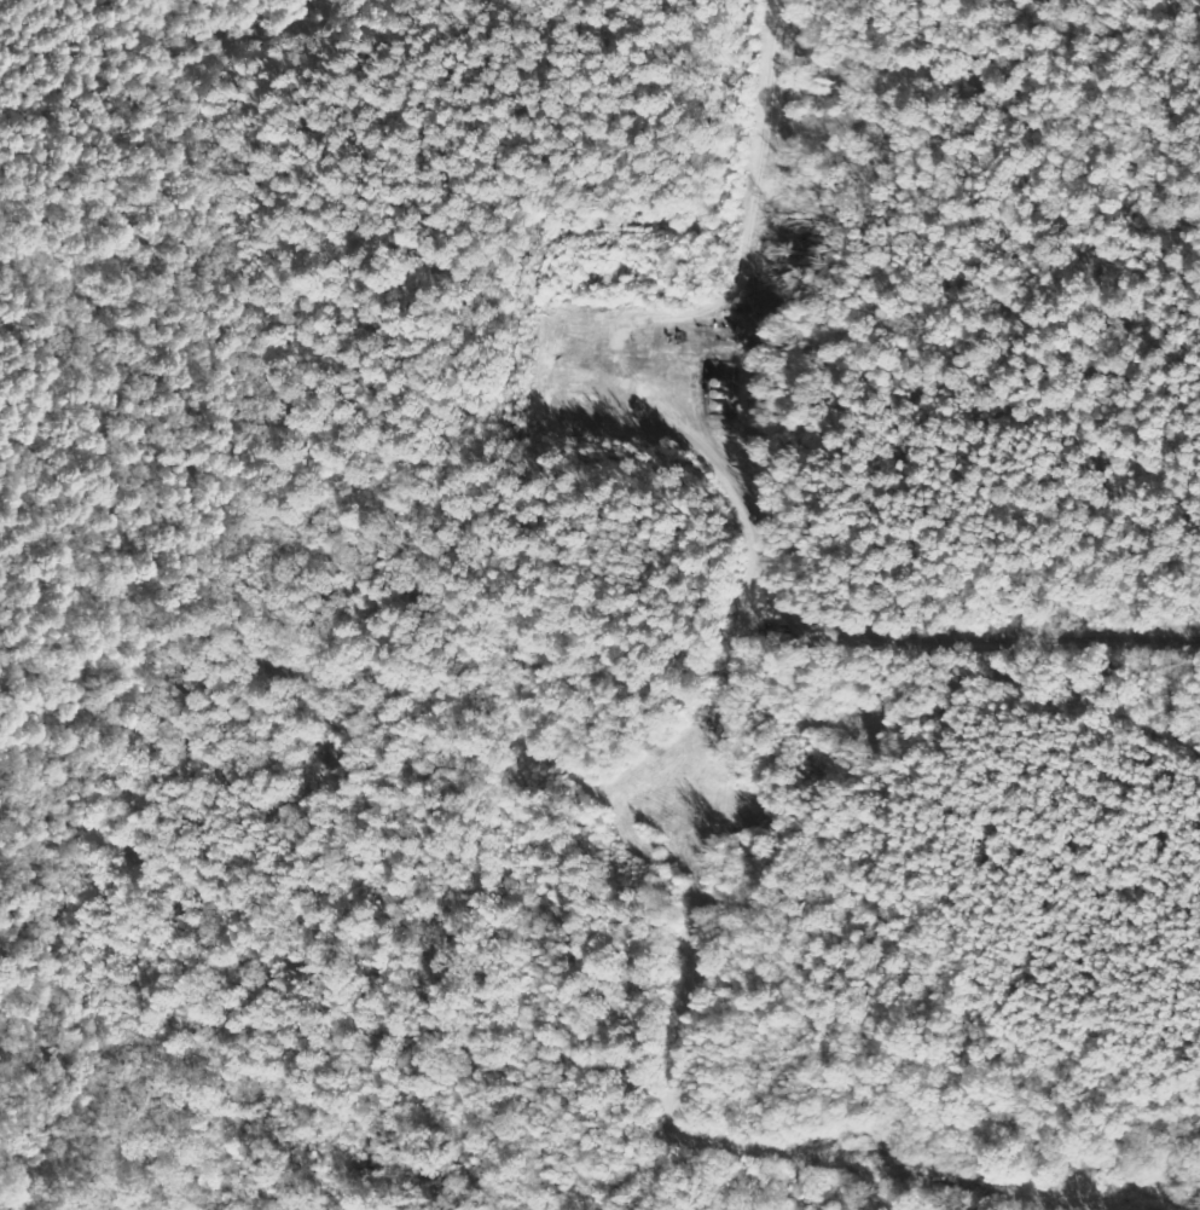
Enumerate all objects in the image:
road: (750, 508)

